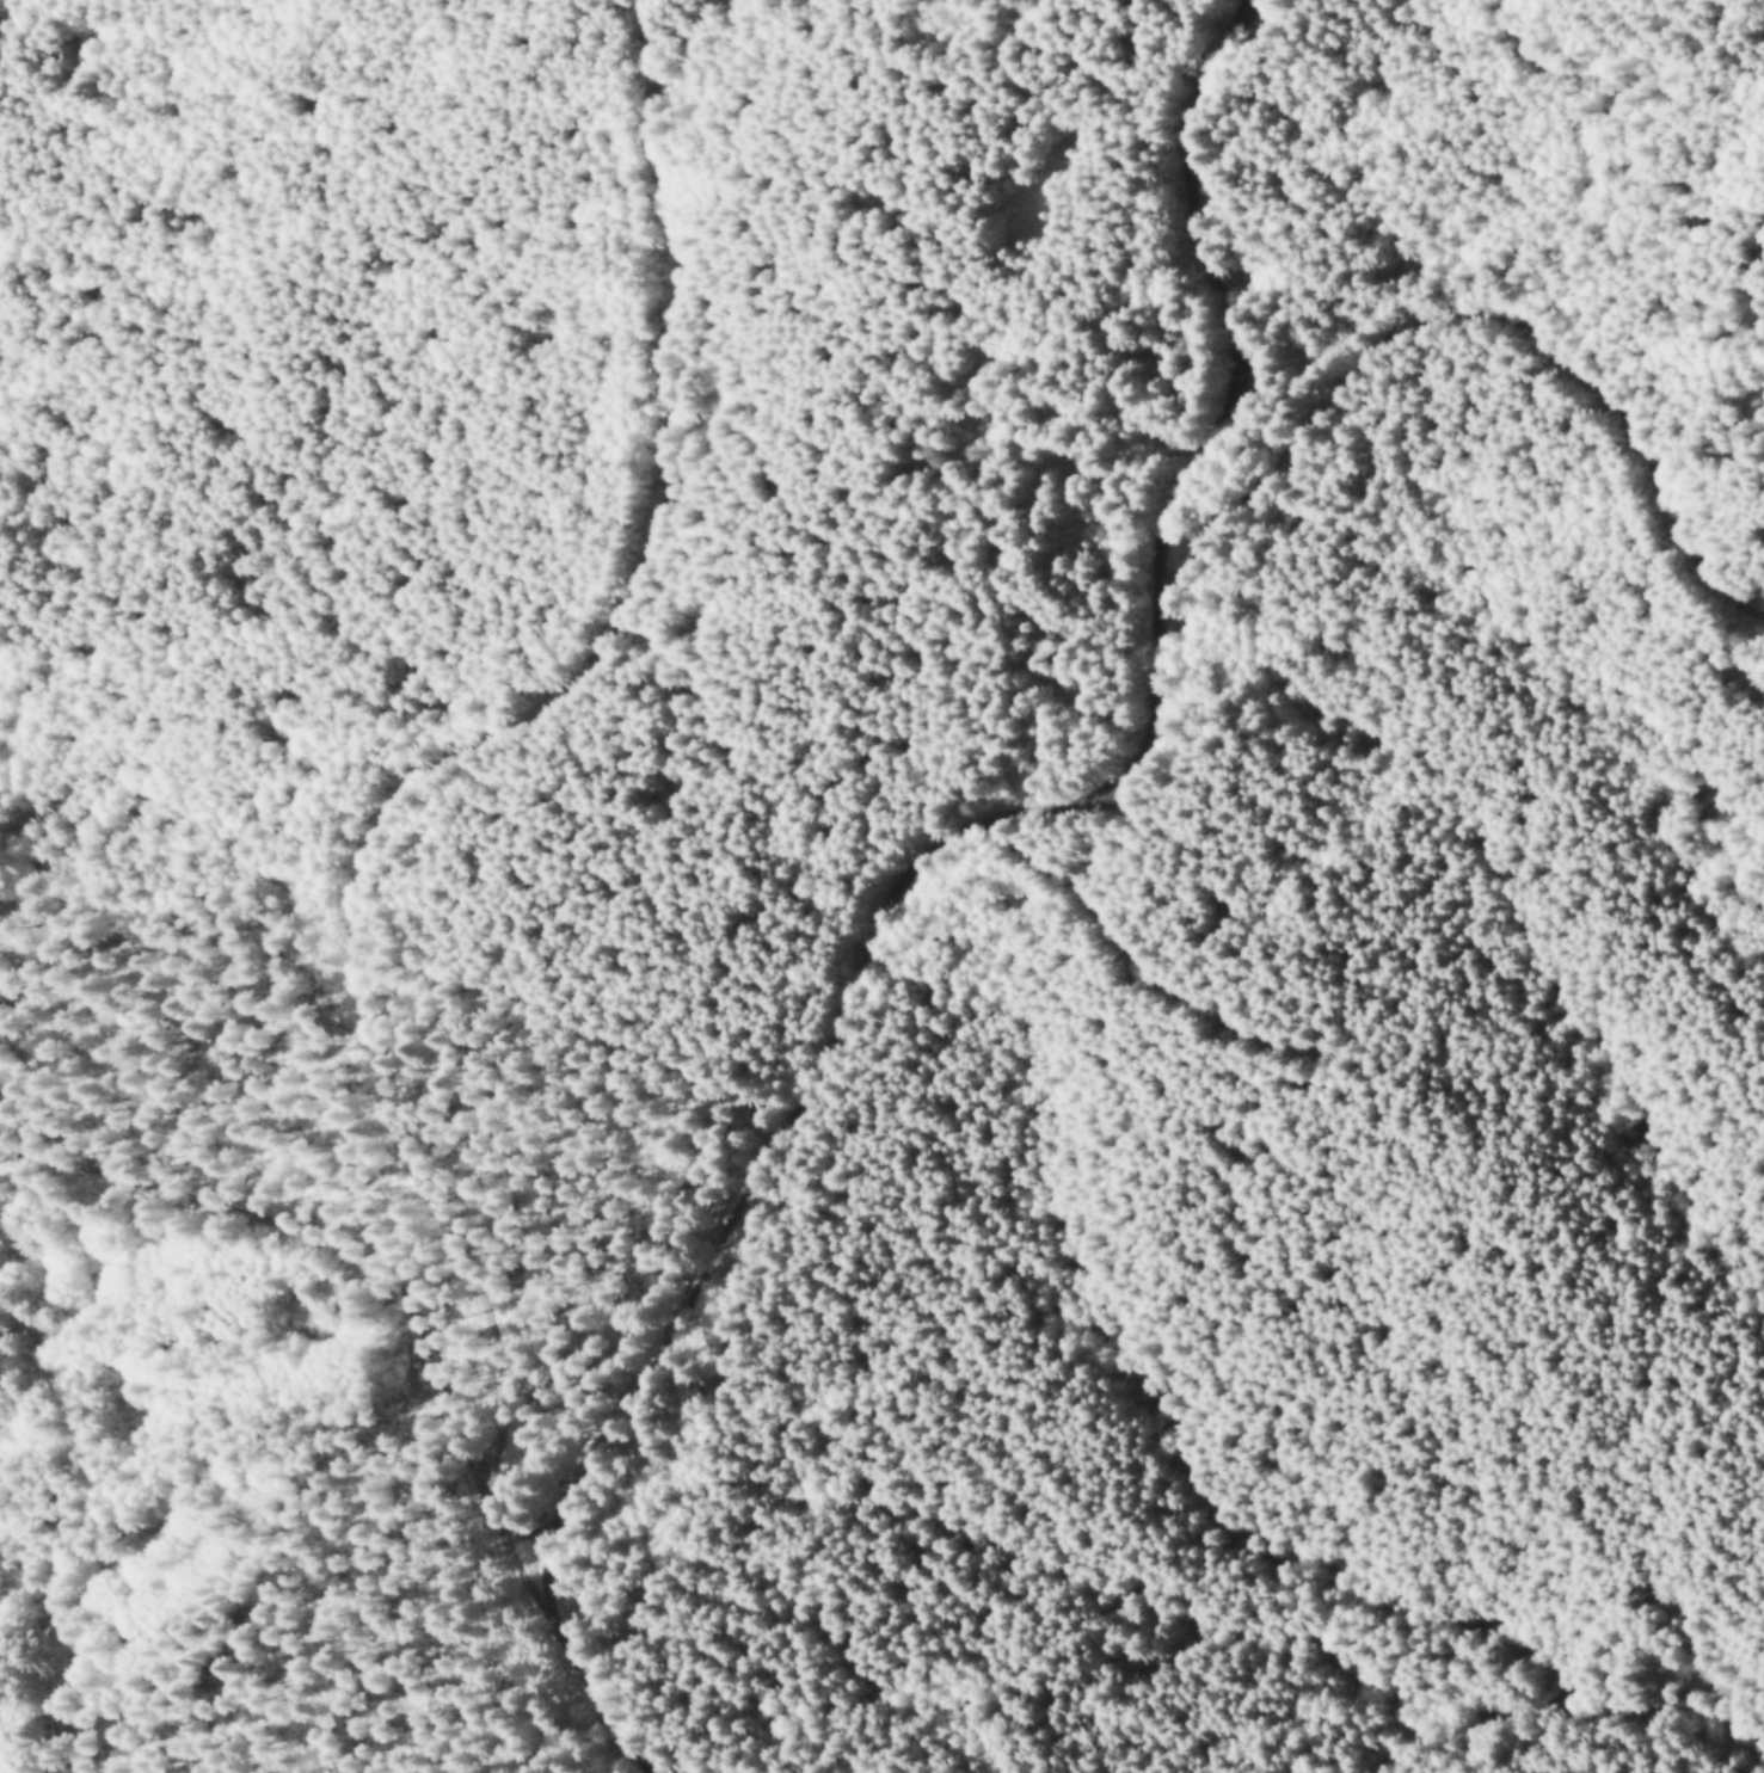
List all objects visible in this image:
road: (916, 852)

